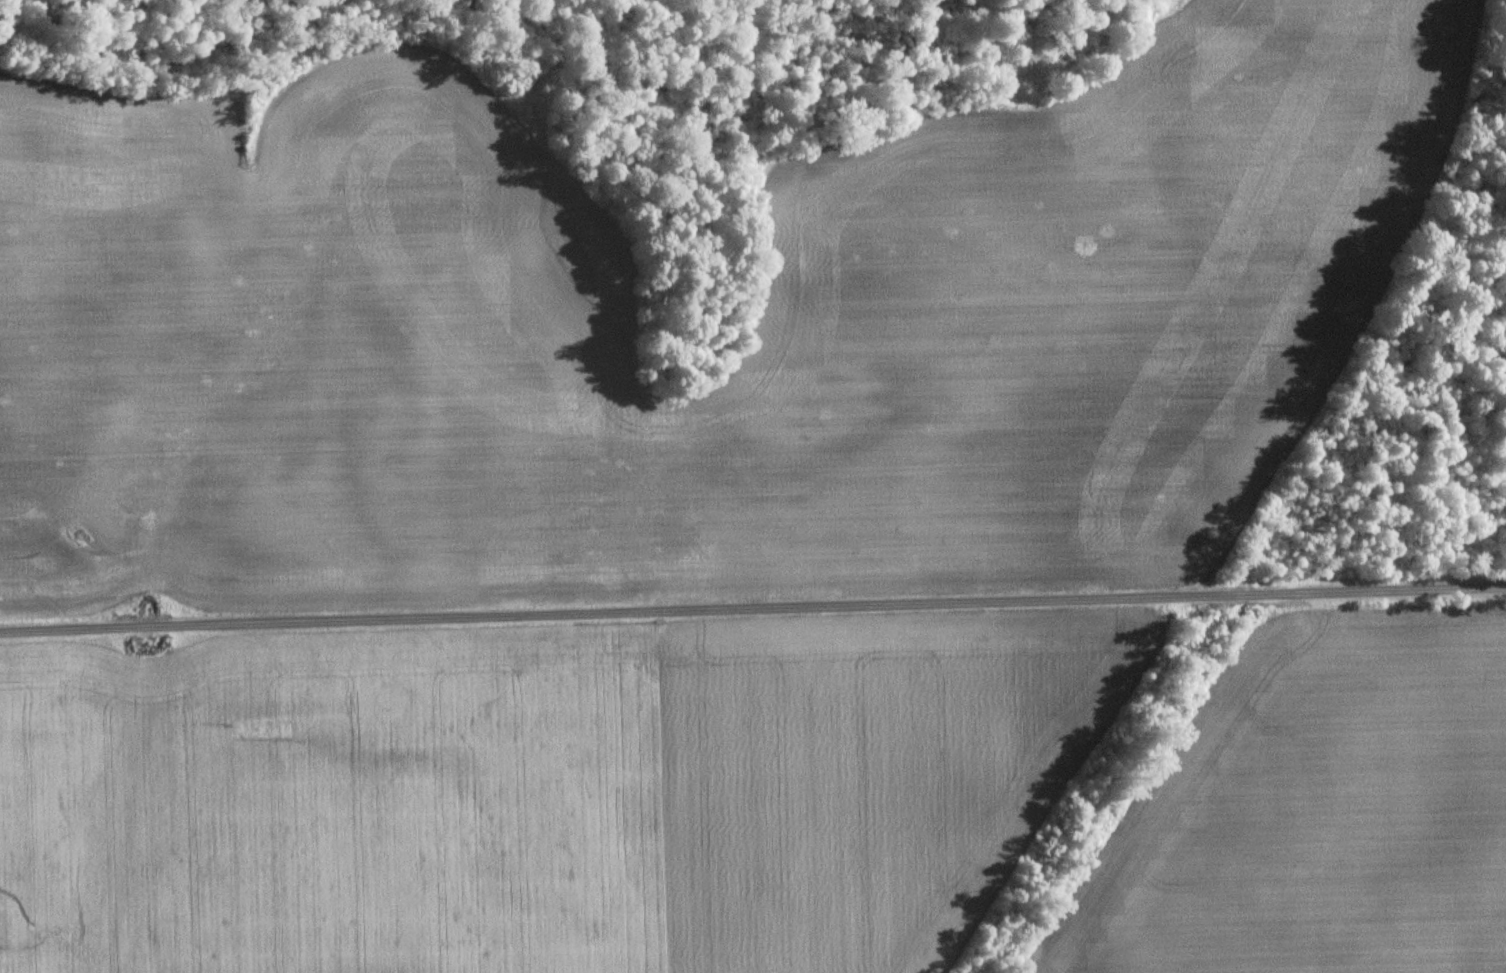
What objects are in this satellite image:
road: (752, 611)

